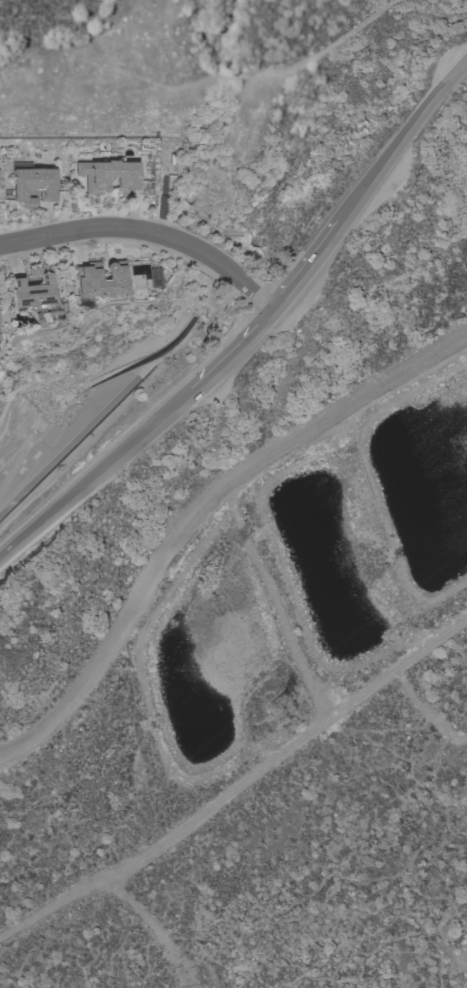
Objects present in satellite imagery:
road: (284, 74)
road: (401, 141)
building: (108, 176)
building: (32, 185)
road: (149, 229)
road: (306, 268)
building: (151, 278)
building: (98, 280)
building: (29, 290)
road: (232, 351)
road: (95, 470)
road: (197, 506)
power tower: (282, 711)

